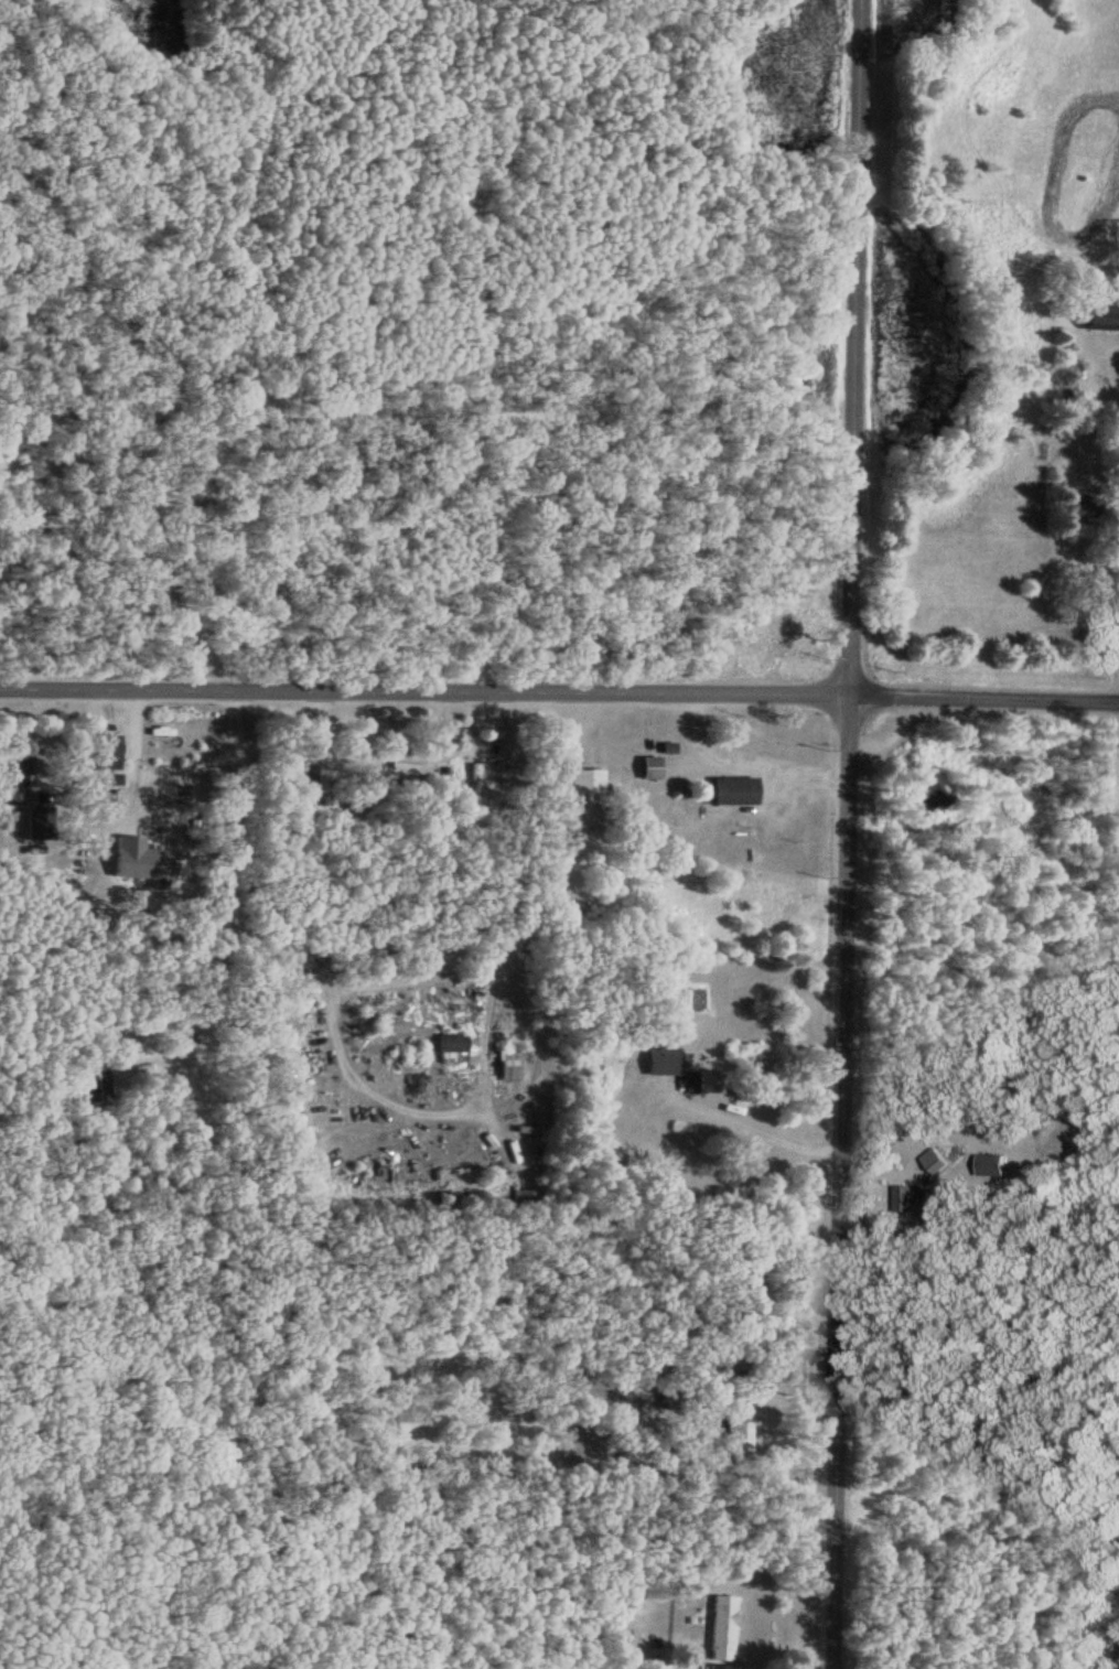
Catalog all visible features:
building: (1100, 315)
road: (132, 342)
road: (854, 346)
road: (94, 559)
road: (424, 692)
road: (984, 694)
building: (110, 745)
building: (650, 765)
building: (408, 771)
building: (14, 779)
building: (585, 779)
building: (308, 780)
building: (475, 784)
building: (173, 786)
building: (932, 788)
building: (734, 789)
building: (453, 1047)
building: (510, 1063)
building: (665, 1063)
building: (92, 1083)
building: (942, 1162)
road: (838, 1181)
building: (919, 1197)
building: (525, 1199)
building: (741, 1428)
building: (723, 1632)

